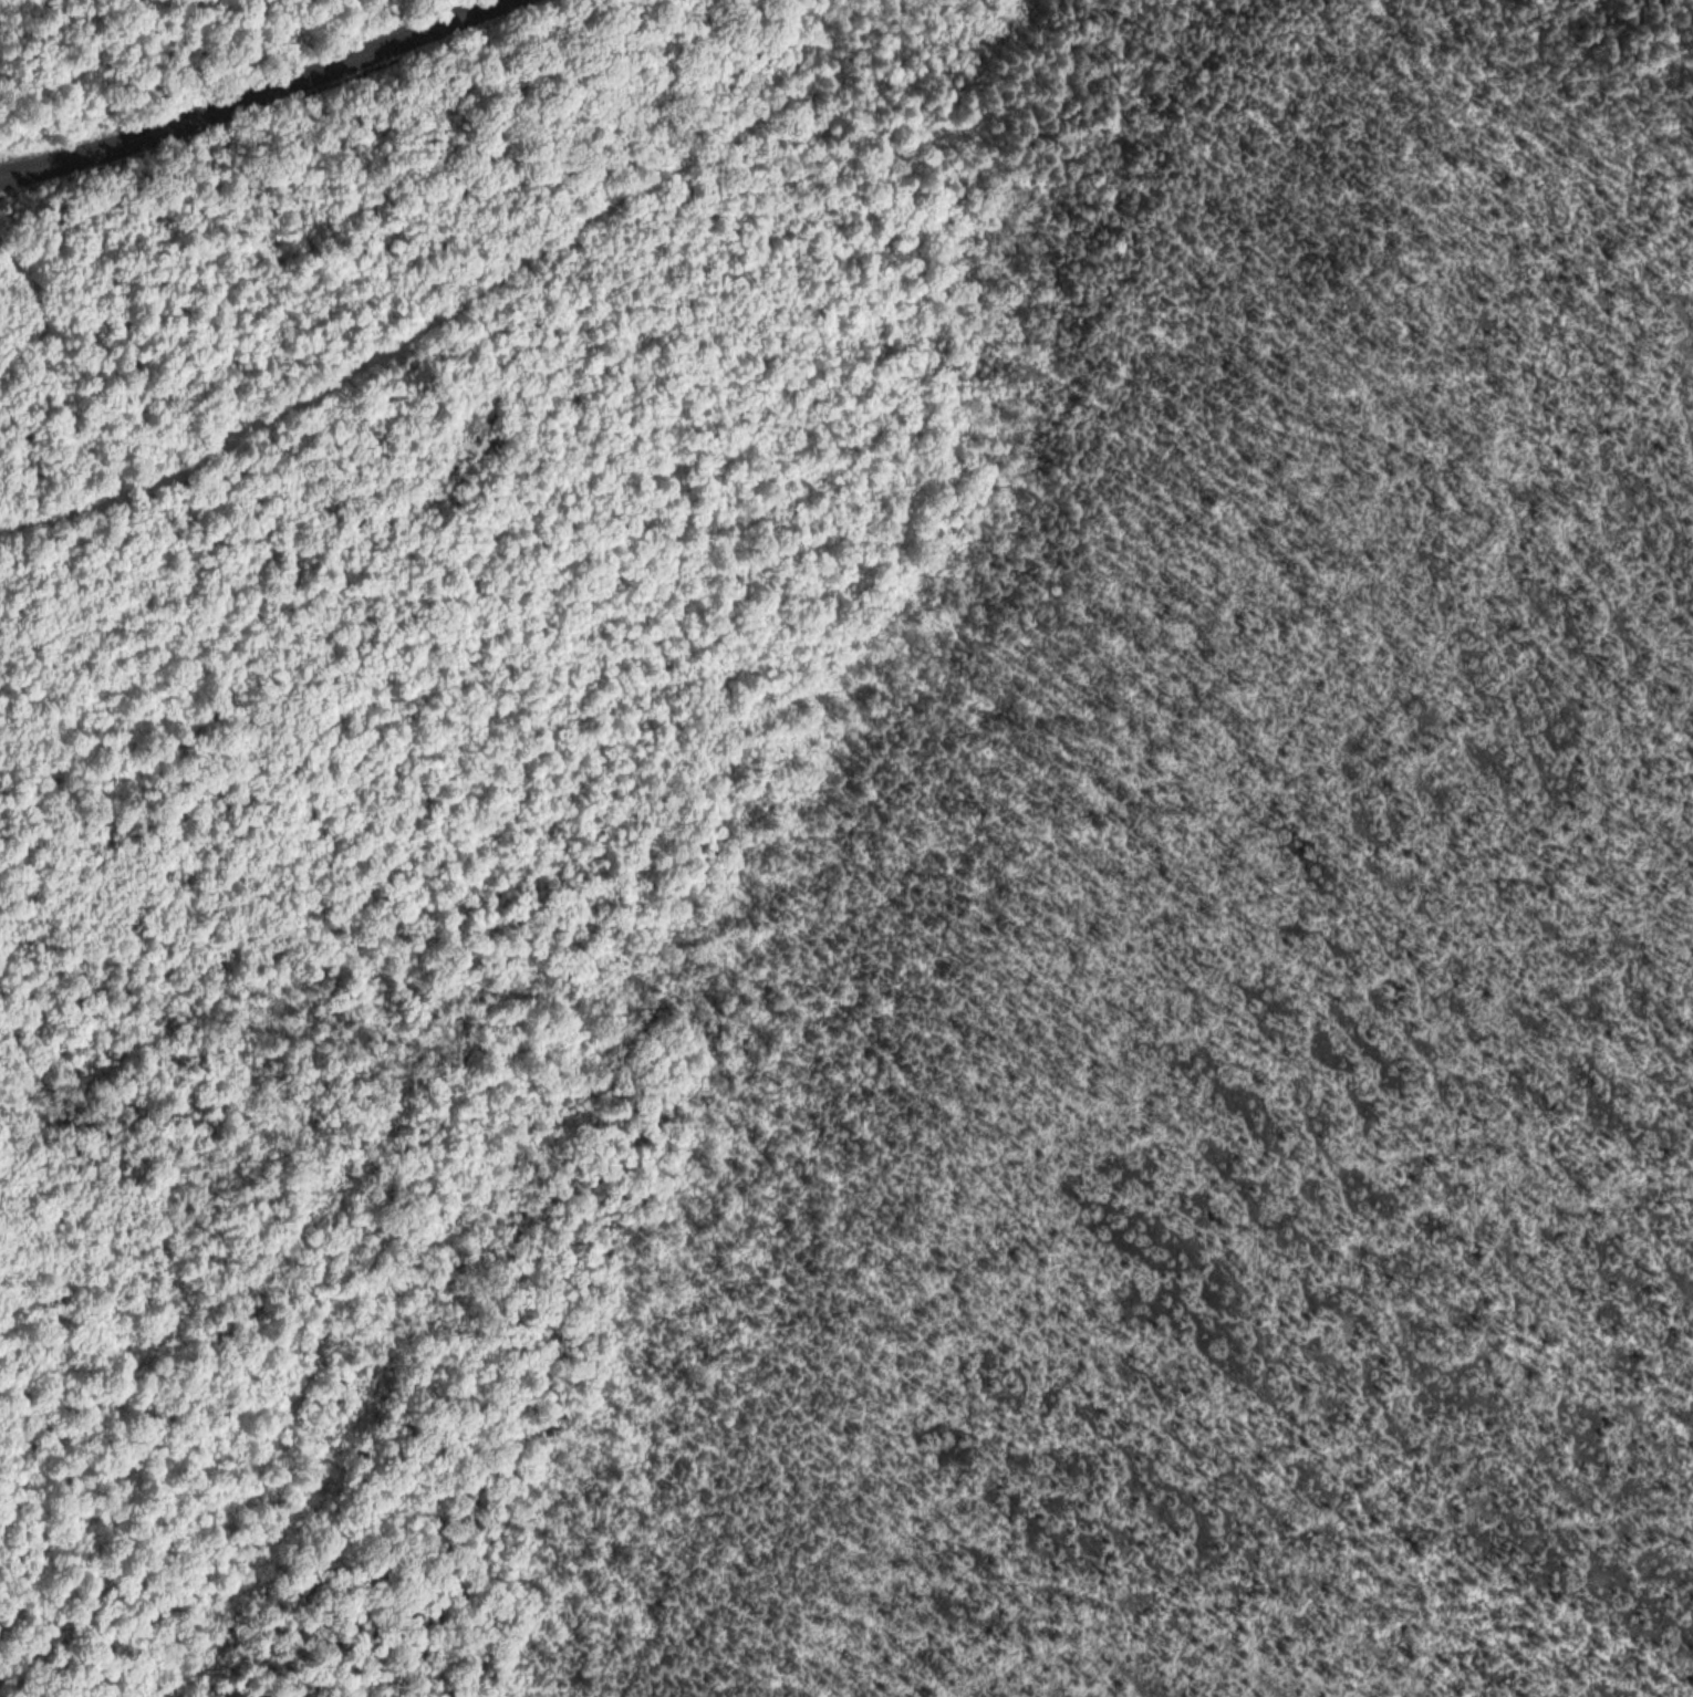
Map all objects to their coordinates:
road: (248, 93)

